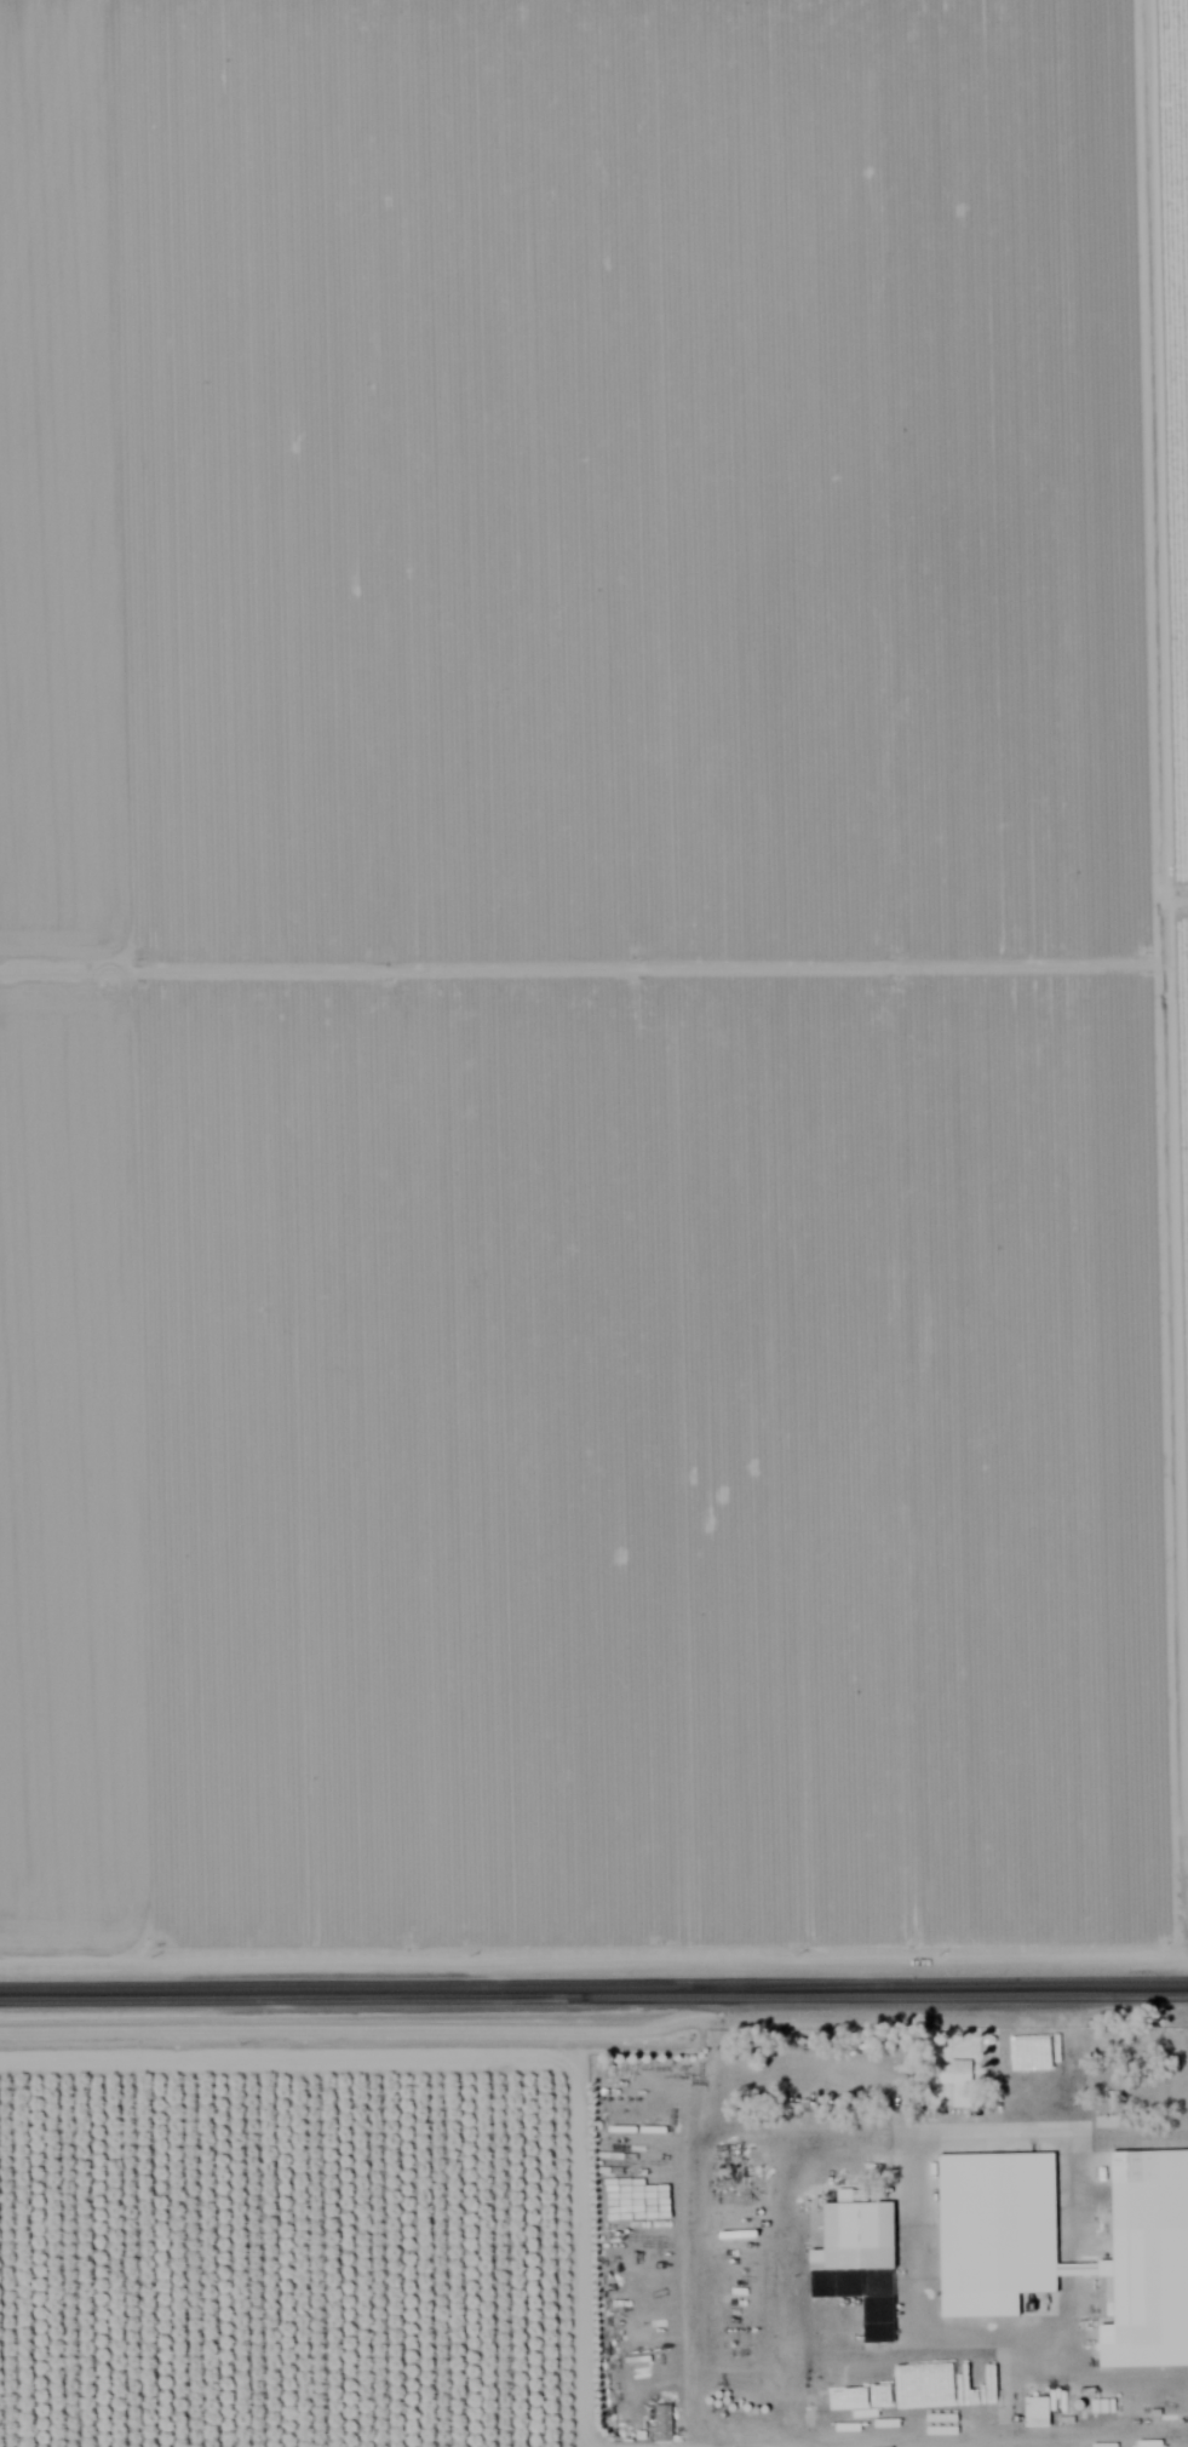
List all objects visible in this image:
crop: (1181, 446)
road: (1175, 737)
crop: (590, 981)
road: (593, 1993)
building: (953, 2079)
building: (989, 2228)
building: (851, 2235)
building: (1137, 2245)

